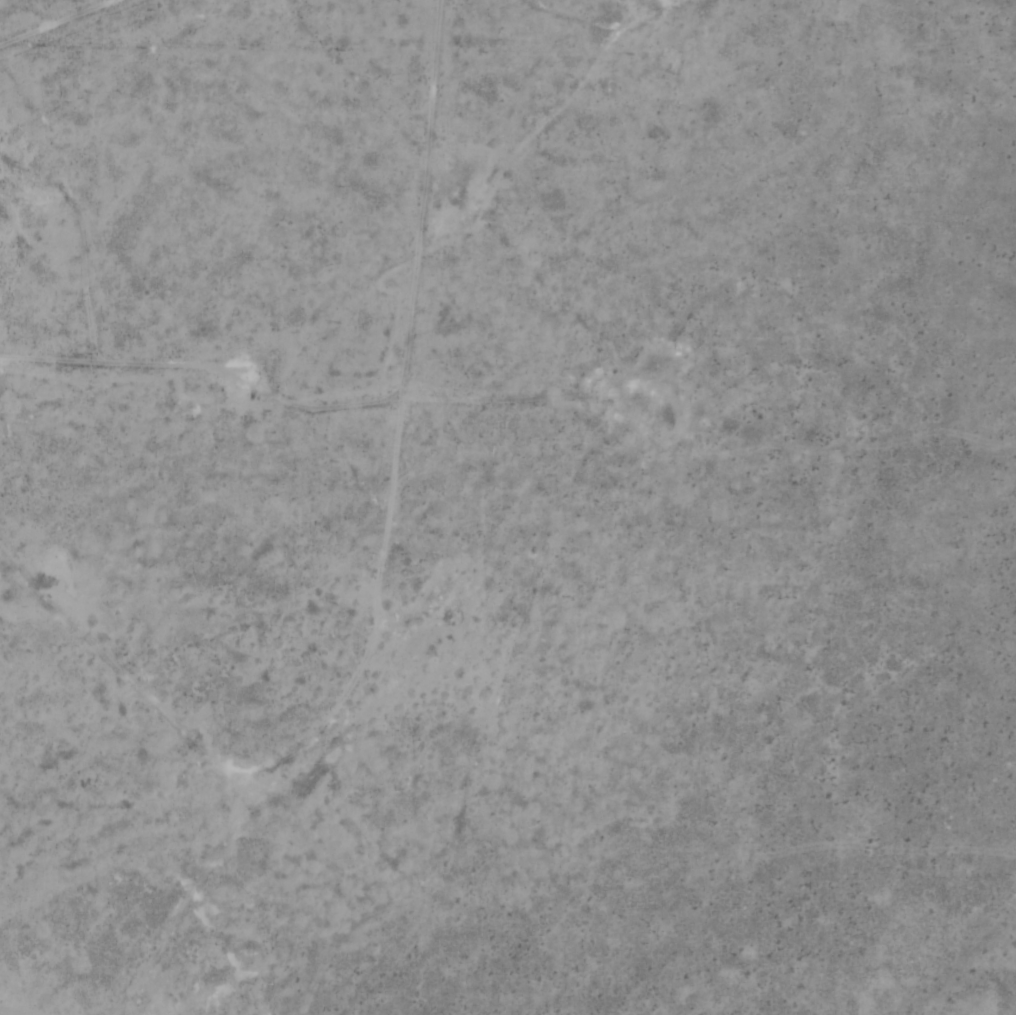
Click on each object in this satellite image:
road: (43, 17)
road: (419, 194)
road: (72, 206)
road: (207, 368)
road: (495, 403)

